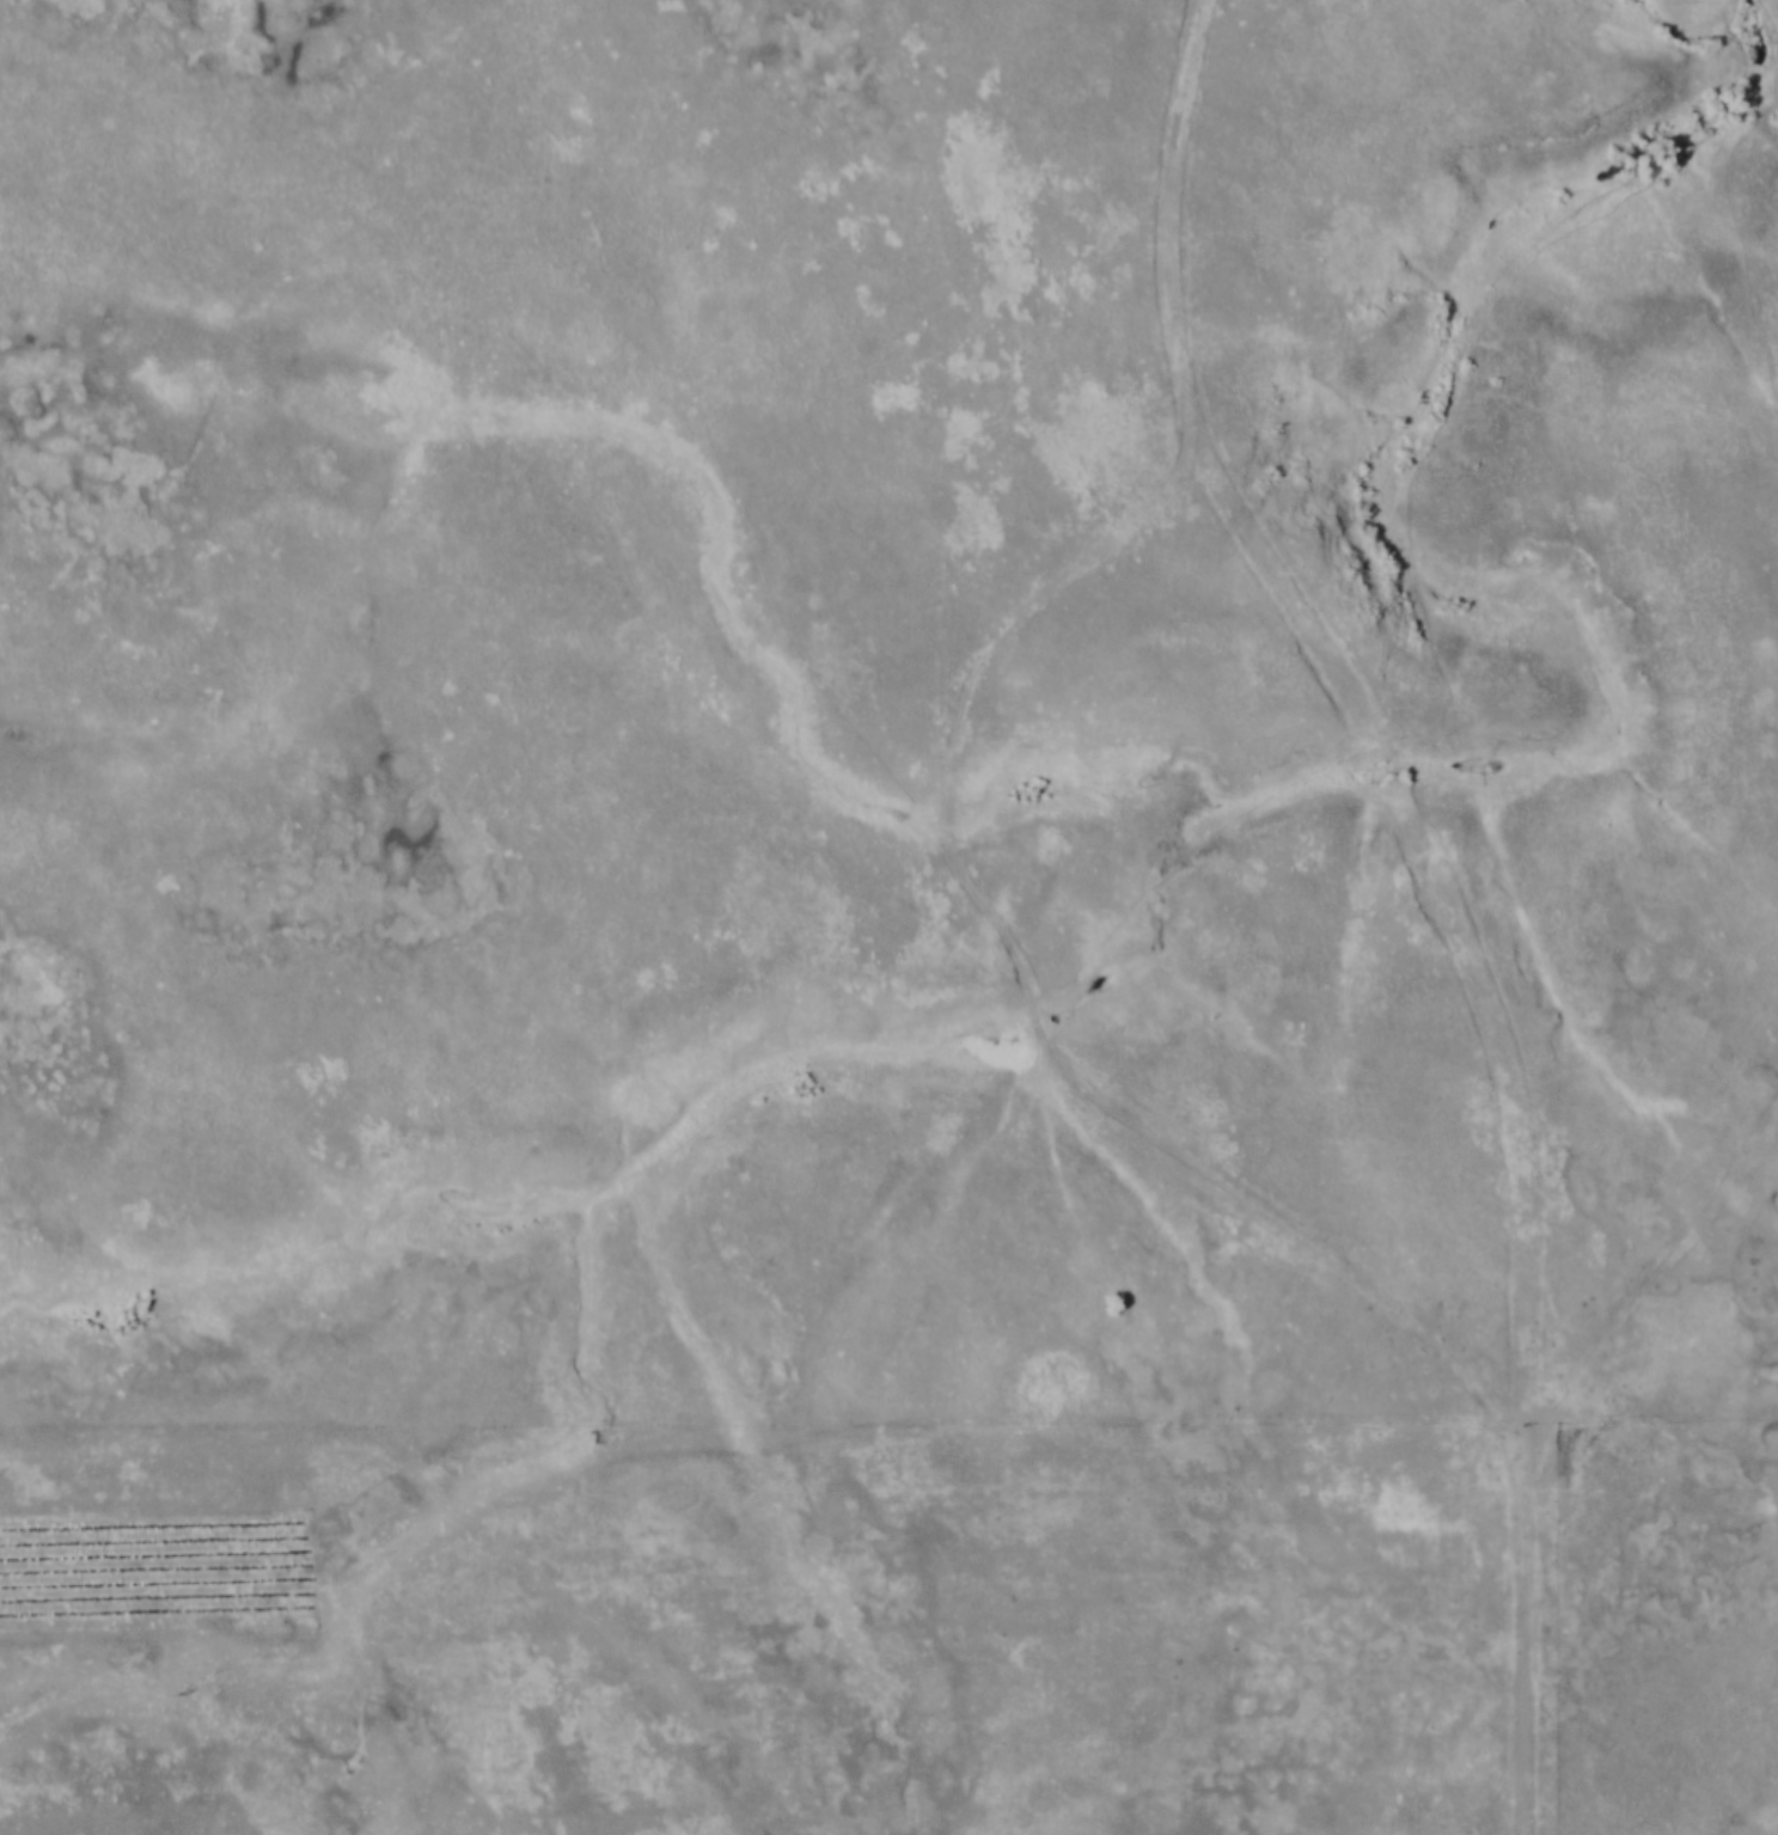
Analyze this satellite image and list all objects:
road: (1452, 904)
road: (1028, 977)
road: (1662, 1423)
road: (960, 1430)
road: (1527, 1797)

